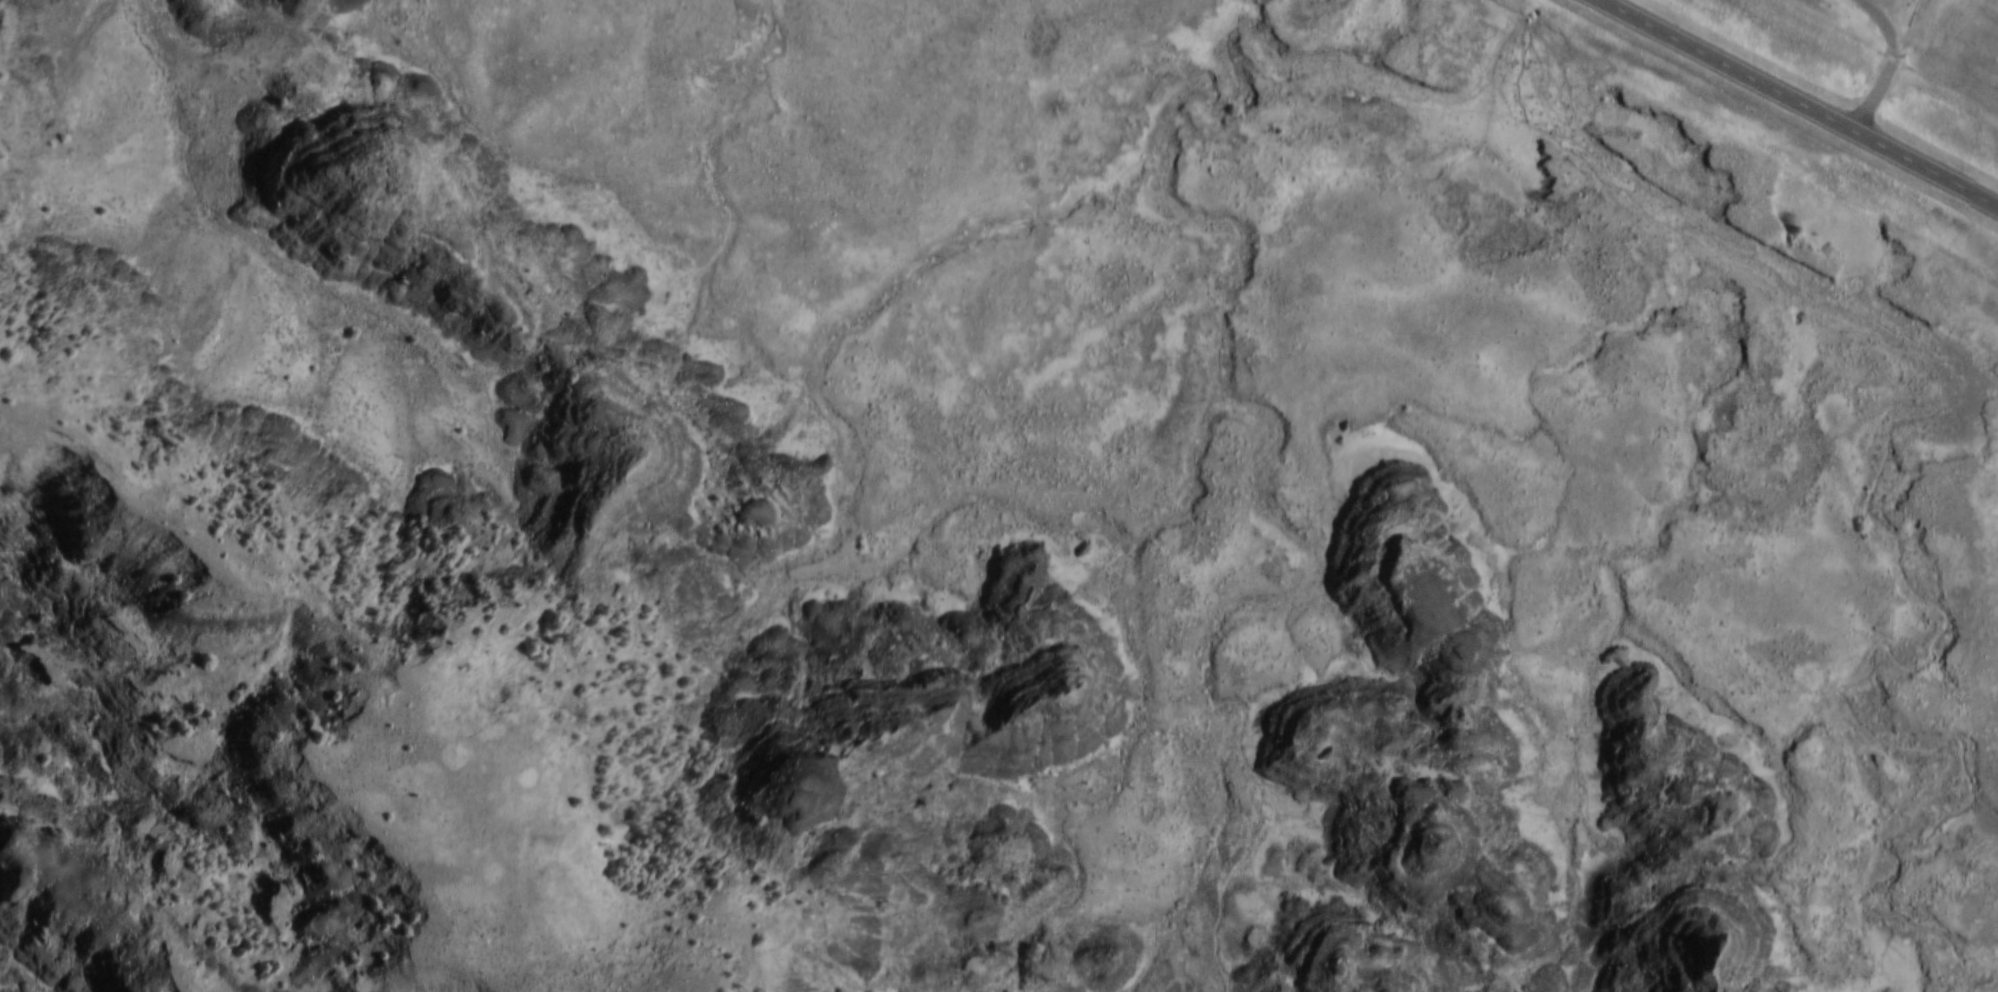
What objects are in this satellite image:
road: (1891, 62)
road: (1802, 102)

